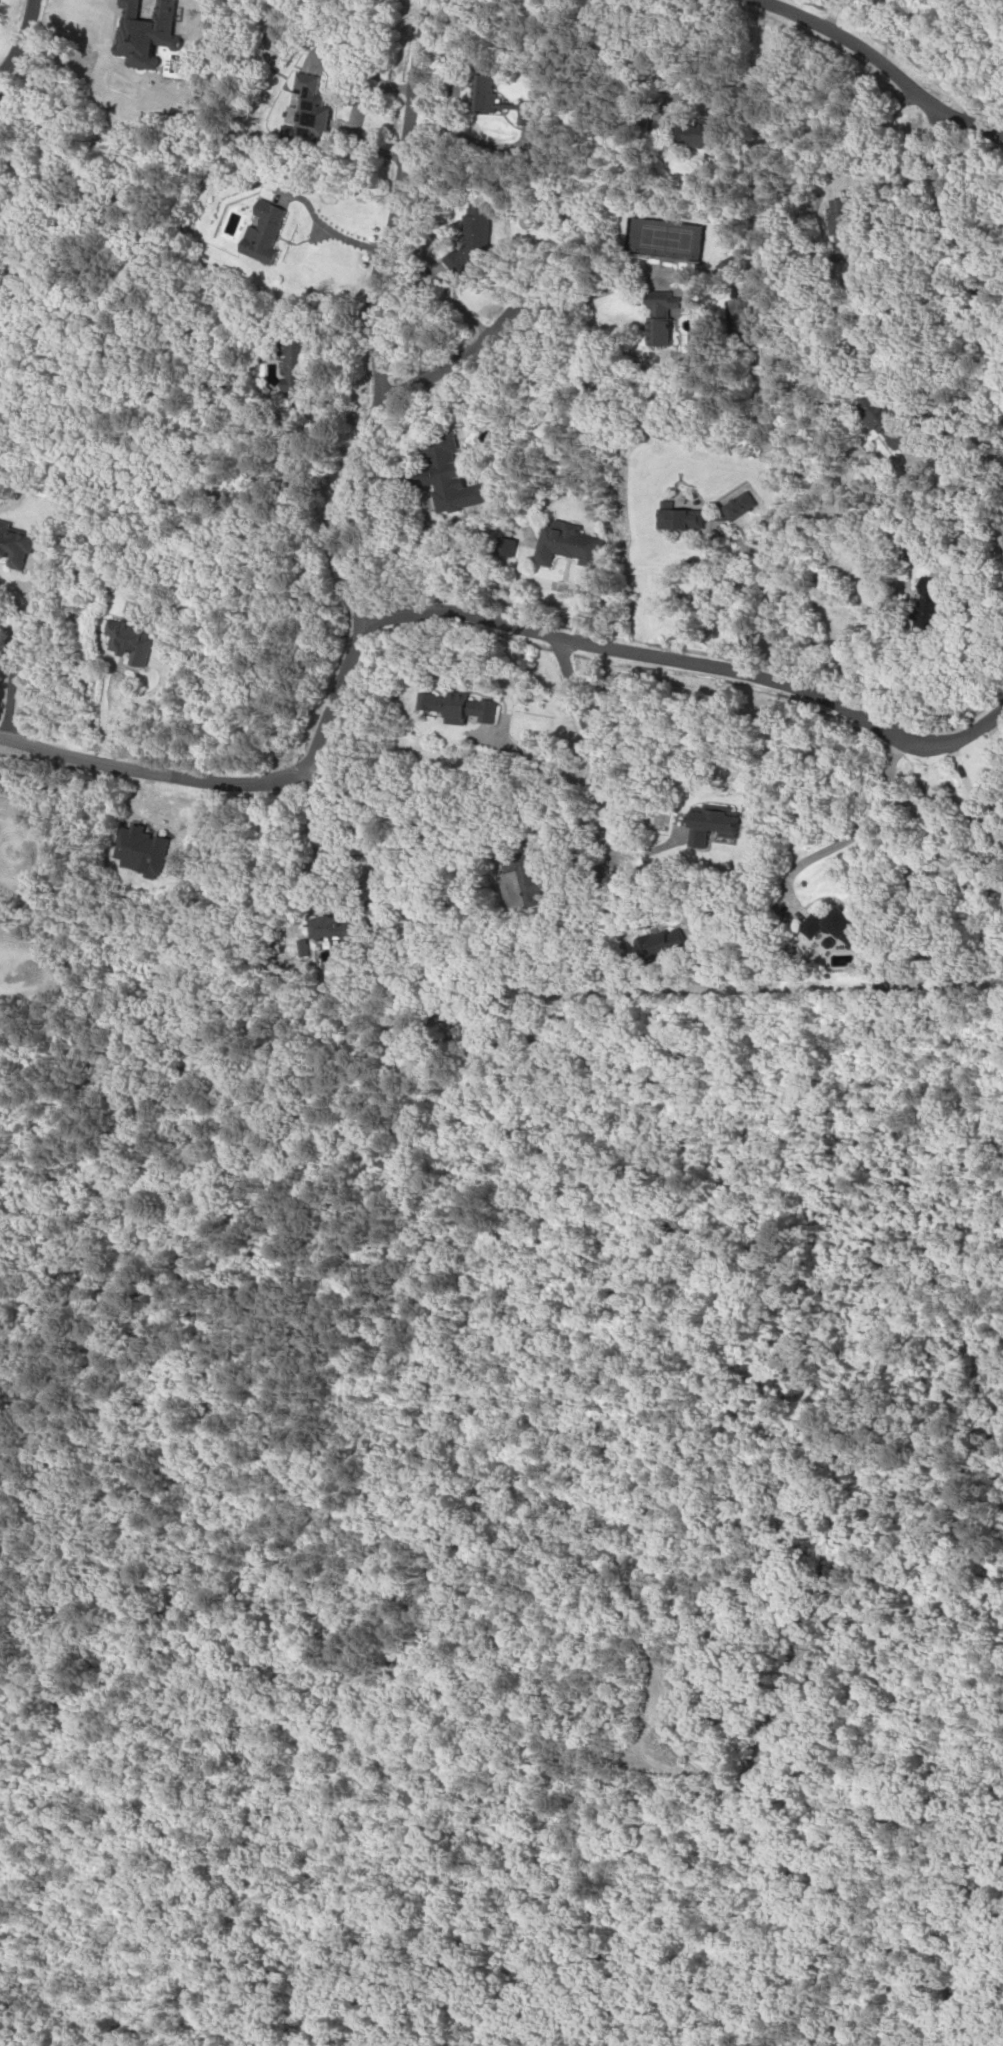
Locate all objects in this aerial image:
road: (18, 37)
road: (881, 68)
building: (480, 94)
building: (304, 106)
building: (691, 132)
building: (472, 229)
building: (837, 230)
building: (256, 233)
road: (959, 256)
building: (728, 265)
building: (660, 300)
building: (741, 314)
road: (365, 315)
road: (514, 318)
building: (655, 331)
building: (289, 363)
building: (881, 422)
building: (443, 475)
building: (677, 519)
building: (563, 544)
building: (14, 545)
building: (922, 609)
road: (463, 612)
road: (16, 632)
building: (125, 641)
road: (110, 695)
road: (125, 702)
building: (454, 707)
road: (590, 746)
building: (711, 821)
road: (855, 832)
building: (537, 879)
building: (833, 927)
building: (334, 928)
building: (660, 945)

